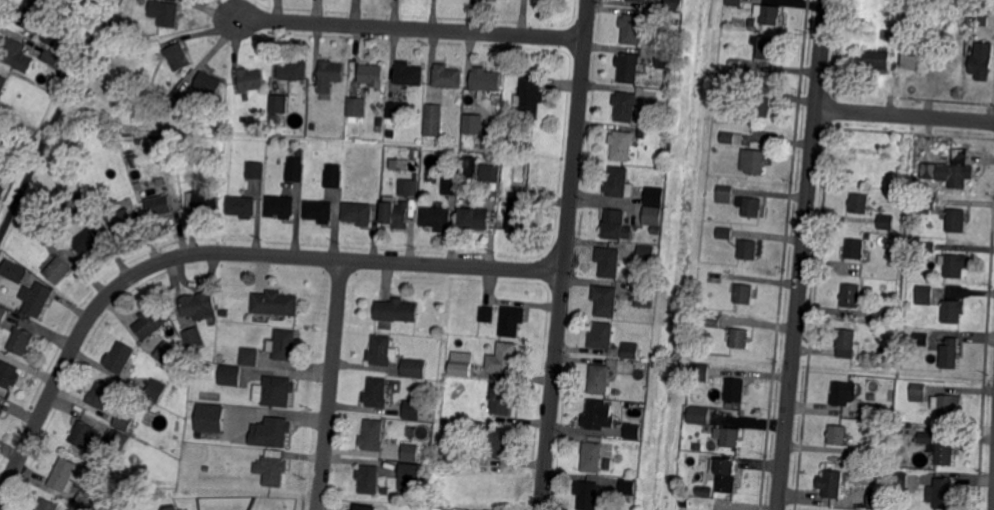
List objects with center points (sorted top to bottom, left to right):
building: (641, 1)
building: (66, 2)
building: (735, 2)
building: (674, 5)
building: (31, 11)
building: (165, 13)
building: (771, 14)
building: (676, 21)
building: (983, 21)
building: (752, 22)
road: (409, 28)
building: (633, 28)
building: (885, 34)
building: (897, 36)
building: (50, 38)
building: (768, 48)
building: (16, 54)
building: (52, 56)
building: (913, 56)
building: (177, 57)
building: (878, 58)
building: (667, 59)
building: (982, 59)
building: (735, 63)
building: (629, 67)
building: (290, 68)
building: (98, 69)
building: (409, 75)
building: (330, 76)
building: (371, 76)
building: (448, 76)
building: (251, 78)
building: (485, 80)
building: (3, 83)
building: (209, 84)
building: (672, 85)
building: (735, 89)
building: (529, 96)
building: (723, 99)
building: (497, 100)
building: (178, 101)
building: (135, 103)
building: (277, 104)
building: (626, 106)
building: (762, 106)
building: (357, 108)
building: (6, 109)
building: (394, 111)
road: (906, 115)
building: (254, 120)
building: (272, 120)
building: (433, 120)
building: (215, 124)
building: (473, 124)
building: (643, 132)
building: (390, 134)
building: (733, 138)
building: (180, 143)
building: (622, 145)
building: (863, 148)
building: (130, 157)
building: (413, 157)
building: (755, 161)
building: (256, 170)
building: (294, 170)
building: (865, 170)
building: (951, 170)
building: (489, 173)
building: (332, 177)
building: (617, 182)
building: (450, 187)
building: (408, 188)
building: (1, 190)
building: (724, 194)
building: (655, 197)
building: (206, 200)
building: (860, 203)
building: (160, 205)
building: (928, 205)
building: (242, 206)
building: (281, 206)
building: (80, 207)
building: (753, 208)
building: (320, 211)
building: (519, 212)
building: (359, 213)
building: (395, 215)
building: (652, 217)
building: (437, 218)
building: (122, 219)
building: (475, 219)
building: (957, 220)
building: (887, 222)
building: (615, 224)
building: (44, 232)
building: (656, 232)
building: (725, 233)
building: (87, 241)
building: (927, 246)
building: (856, 249)
building: (749, 250)
road: (212, 252)
road: (561, 254)
building: (647, 254)
road: (803, 254)
building: (609, 261)
building: (955, 265)
building: (892, 270)
building: (58, 271)
building: (13, 272)
building: (624, 276)
building: (715, 277)
building: (745, 294)
building: (852, 295)
building: (646, 296)
building: (925, 296)
building: (34, 299)
building: (606, 300)
building: (276, 303)
building: (200, 306)
building: (397, 310)
building: (953, 312)
building: (224, 313)
building: (487, 314)
building: (880, 314)
building: (2, 315)
building: (714, 321)
building: (151, 322)
building: (512, 322)
building: (603, 335)
building: (194, 337)
building: (741, 338)
building: (922, 339)
building: (21, 340)
building: (847, 343)
building: (286, 345)
building: (381, 351)
building: (632, 352)
building: (168, 353)
building: (951, 353)
building: (250, 356)
building: (120, 357)
building: (219, 358)
building: (503, 360)
building: (462, 365)
building: (413, 369)
building: (206, 370)
building: (701, 372)
building: (8, 375)
building: (231, 375)
building: (600, 378)
road: (330, 385)
building: (737, 389)
building: (156, 390)
building: (277, 392)
building: (377, 392)
building: (844, 393)
building: (919, 393)
building: (101, 396)
building: (503, 399)
building: (948, 406)
building: (412, 410)
building: (1, 413)
building: (870, 414)
building: (598, 416)
building: (210, 417)
building: (700, 417)
building: (899, 418)
building: (124, 420)
building: (444, 422)
building: (271, 432)
building: (633, 432)
building: (83, 434)
building: (373, 435)
building: (837, 435)
building: (731, 437)
building: (928, 437)
building: (118, 441)
building: (499, 442)
building: (946, 449)
building: (450, 452)
building: (410, 453)
building: (593, 457)
building: (271, 471)
building: (411, 472)
building: (63, 475)
building: (727, 475)
building: (369, 479)
building: (899, 483)
building: (830, 484)
building: (628, 488)
building: (384, 491)
building: (705, 492)
building: (942, 493)
building: (588, 496)
building: (876, 499)
building: (85, 500)
building: (48, 505)
building: (169, 508)
building: (436, 509)

